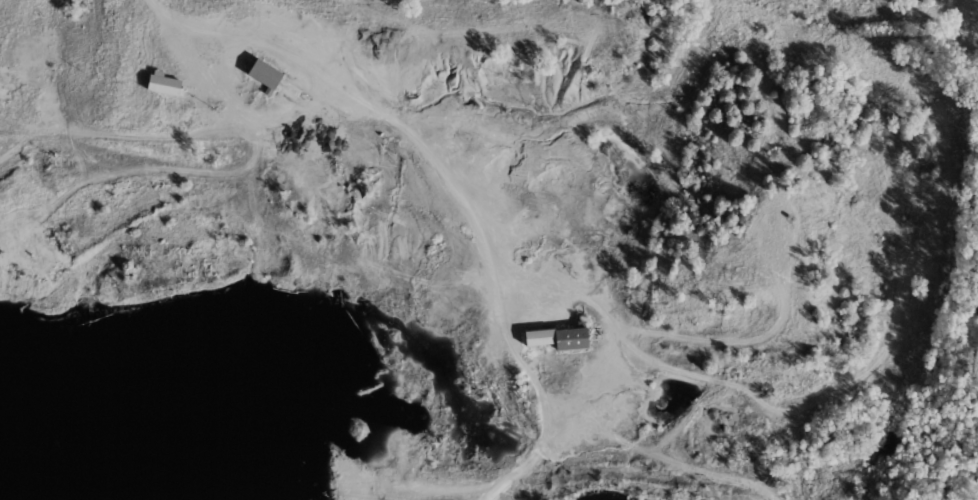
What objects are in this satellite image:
building: (262, 73)
building: (161, 82)
road: (450, 187)
building: (555, 337)

